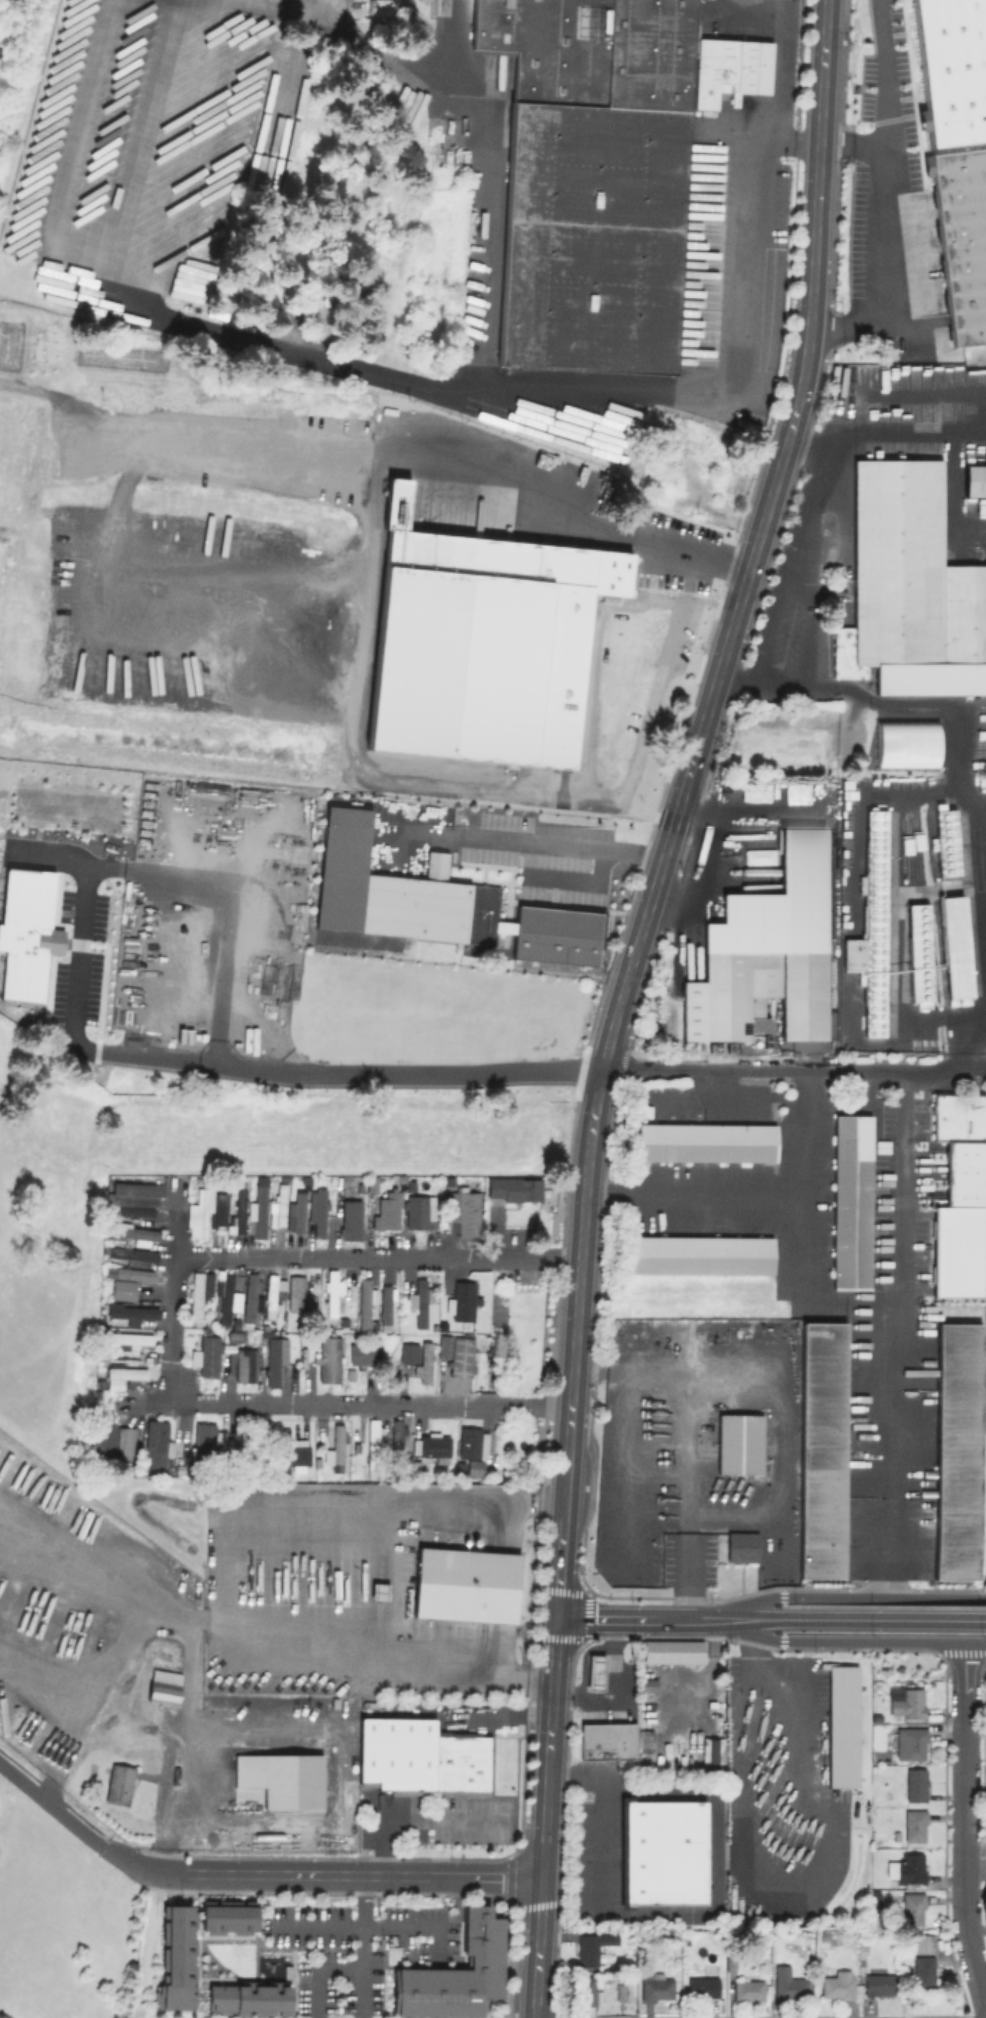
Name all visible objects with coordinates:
road: (218, 1)
building: (377, 7)
road: (355, 40)
building: (952, 69)
road: (851, 141)
building: (970, 146)
road: (884, 158)
building: (594, 179)
road: (488, 186)
building: (964, 240)
road: (94, 244)
road: (844, 324)
road: (277, 344)
road: (733, 352)
road: (886, 432)
building: (974, 480)
road: (974, 525)
road: (576, 539)
building: (912, 573)
building: (481, 643)
building: (929, 679)
road: (776, 682)
road: (947, 715)
building: (905, 743)
building: (845, 760)
road: (676, 806)
road: (420, 835)
building: (946, 840)
road: (561, 845)
building: (340, 867)
road: (701, 870)
building: (287, 888)
building: (427, 904)
building: (870, 925)
building: (26, 932)
building: (923, 932)
building: (555, 935)
building: (953, 948)
building: (765, 953)
building: (915, 960)
road: (91, 1057)
road: (793, 1072)
building: (706, 1141)
building: (961, 1144)
building: (397, 1174)
building: (397, 1179)
building: (370, 1184)
building: (409, 1185)
building: (514, 1188)
building: (138, 1189)
road: (753, 1191)
building: (851, 1201)
building: (277, 1203)
building: (258, 1206)
building: (238, 1208)
building: (204, 1210)
building: (388, 1210)
building: (415, 1211)
building: (135, 1212)
building: (298, 1212)
building: (319, 1212)
building: (467, 1214)
building: (350, 1219)
building: (134, 1233)
road: (804, 1244)
building: (958, 1252)
building: (698, 1254)
building: (134, 1255)
building: (133, 1274)
building: (239, 1279)
building: (123, 1289)
building: (272, 1289)
building: (331, 1289)
building: (198, 1292)
building: (295, 1293)
building: (225, 1295)
building: (250, 1296)
building: (463, 1301)
building: (364, 1302)
road: (854, 1302)
building: (419, 1303)
building: (385, 1305)
building: (132, 1313)
building: (235, 1323)
building: (344, 1323)
road: (173, 1330)
road: (893, 1335)
building: (235, 1336)
building: (128, 1339)
building: (444, 1342)
building: (409, 1352)
building: (363, 1354)
building: (206, 1356)
building: (274, 1357)
building: (303, 1357)
building: (460, 1357)
building: (474, 1358)
building: (328, 1359)
building: (391, 1360)
building: (423, 1363)
building: (241, 1365)
road: (589, 1371)
building: (349, 1374)
building: (123, 1376)
building: (99, 1383)
road: (688, 1421)
building: (243, 1439)
building: (395, 1440)
building: (111, 1441)
building: (205, 1441)
building: (465, 1442)
building: (336, 1443)
building: (371, 1443)
building: (478, 1443)
building: (739, 1444)
building: (431, 1446)
building: (156, 1447)
building: (820, 1451)
building: (957, 1451)
building: (294, 1454)
building: (415, 1465)
building: (459, 1467)
building: (468, 1468)
building: (476, 1468)
building: (742, 1547)
road: (688, 1574)
road: (231, 1581)
building: (465, 1585)
road: (842, 1596)
road: (629, 1618)
road: (743, 1618)
road: (885, 1618)
road: (842, 1640)
building: (672, 1651)
building: (594, 1671)
gas station: (594, 1671)
building: (646, 1684)
road: (612, 1686)
building: (163, 1687)
road: (82, 1692)
road: (783, 1693)
building: (906, 1701)
building: (842, 1725)
building: (644, 1738)
building: (606, 1741)
building: (909, 1743)
building: (711, 1754)
building: (422, 1757)
building: (282, 1778)
building: (915, 1785)
building: (118, 1789)
road: (544, 1817)
road: (418, 1821)
building: (914, 1826)
road: (78, 1827)
road: (963, 1830)
building: (661, 1851)
building: (907, 1869)
road: (354, 1873)
road: (714, 1891)
building: (912, 1910)
building: (225, 1919)
road: (363, 1919)
road: (366, 1925)
building: (824, 1937)
building: (863, 1943)
building: (924, 1944)
building: (592, 1947)
building: (175, 1959)
building: (730, 1962)
road: (340, 1964)
building: (286, 1972)
building: (924, 1972)
building: (454, 1974)
building: (605, 1979)
building: (879, 1982)
building: (789, 1986)
building: (838, 1986)
building: (655, 1987)
building: (703, 1987)
building: (749, 1991)
building: (585, 1992)
building: (619, 1993)
building: (248, 1998)

